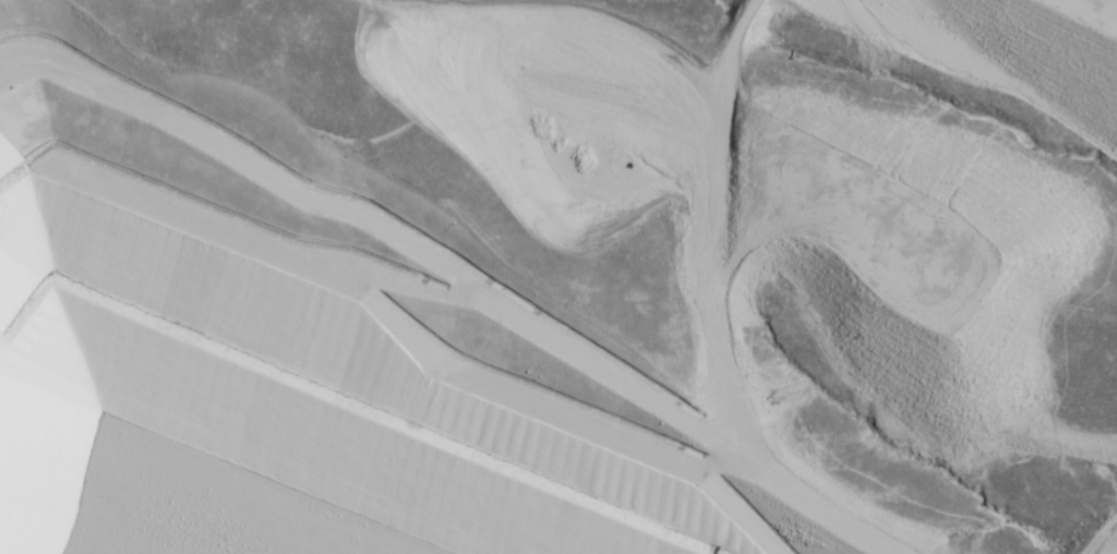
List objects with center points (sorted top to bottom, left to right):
road: (745, 8)
road: (737, 26)
road: (714, 294)
landfill: (171, 489)

